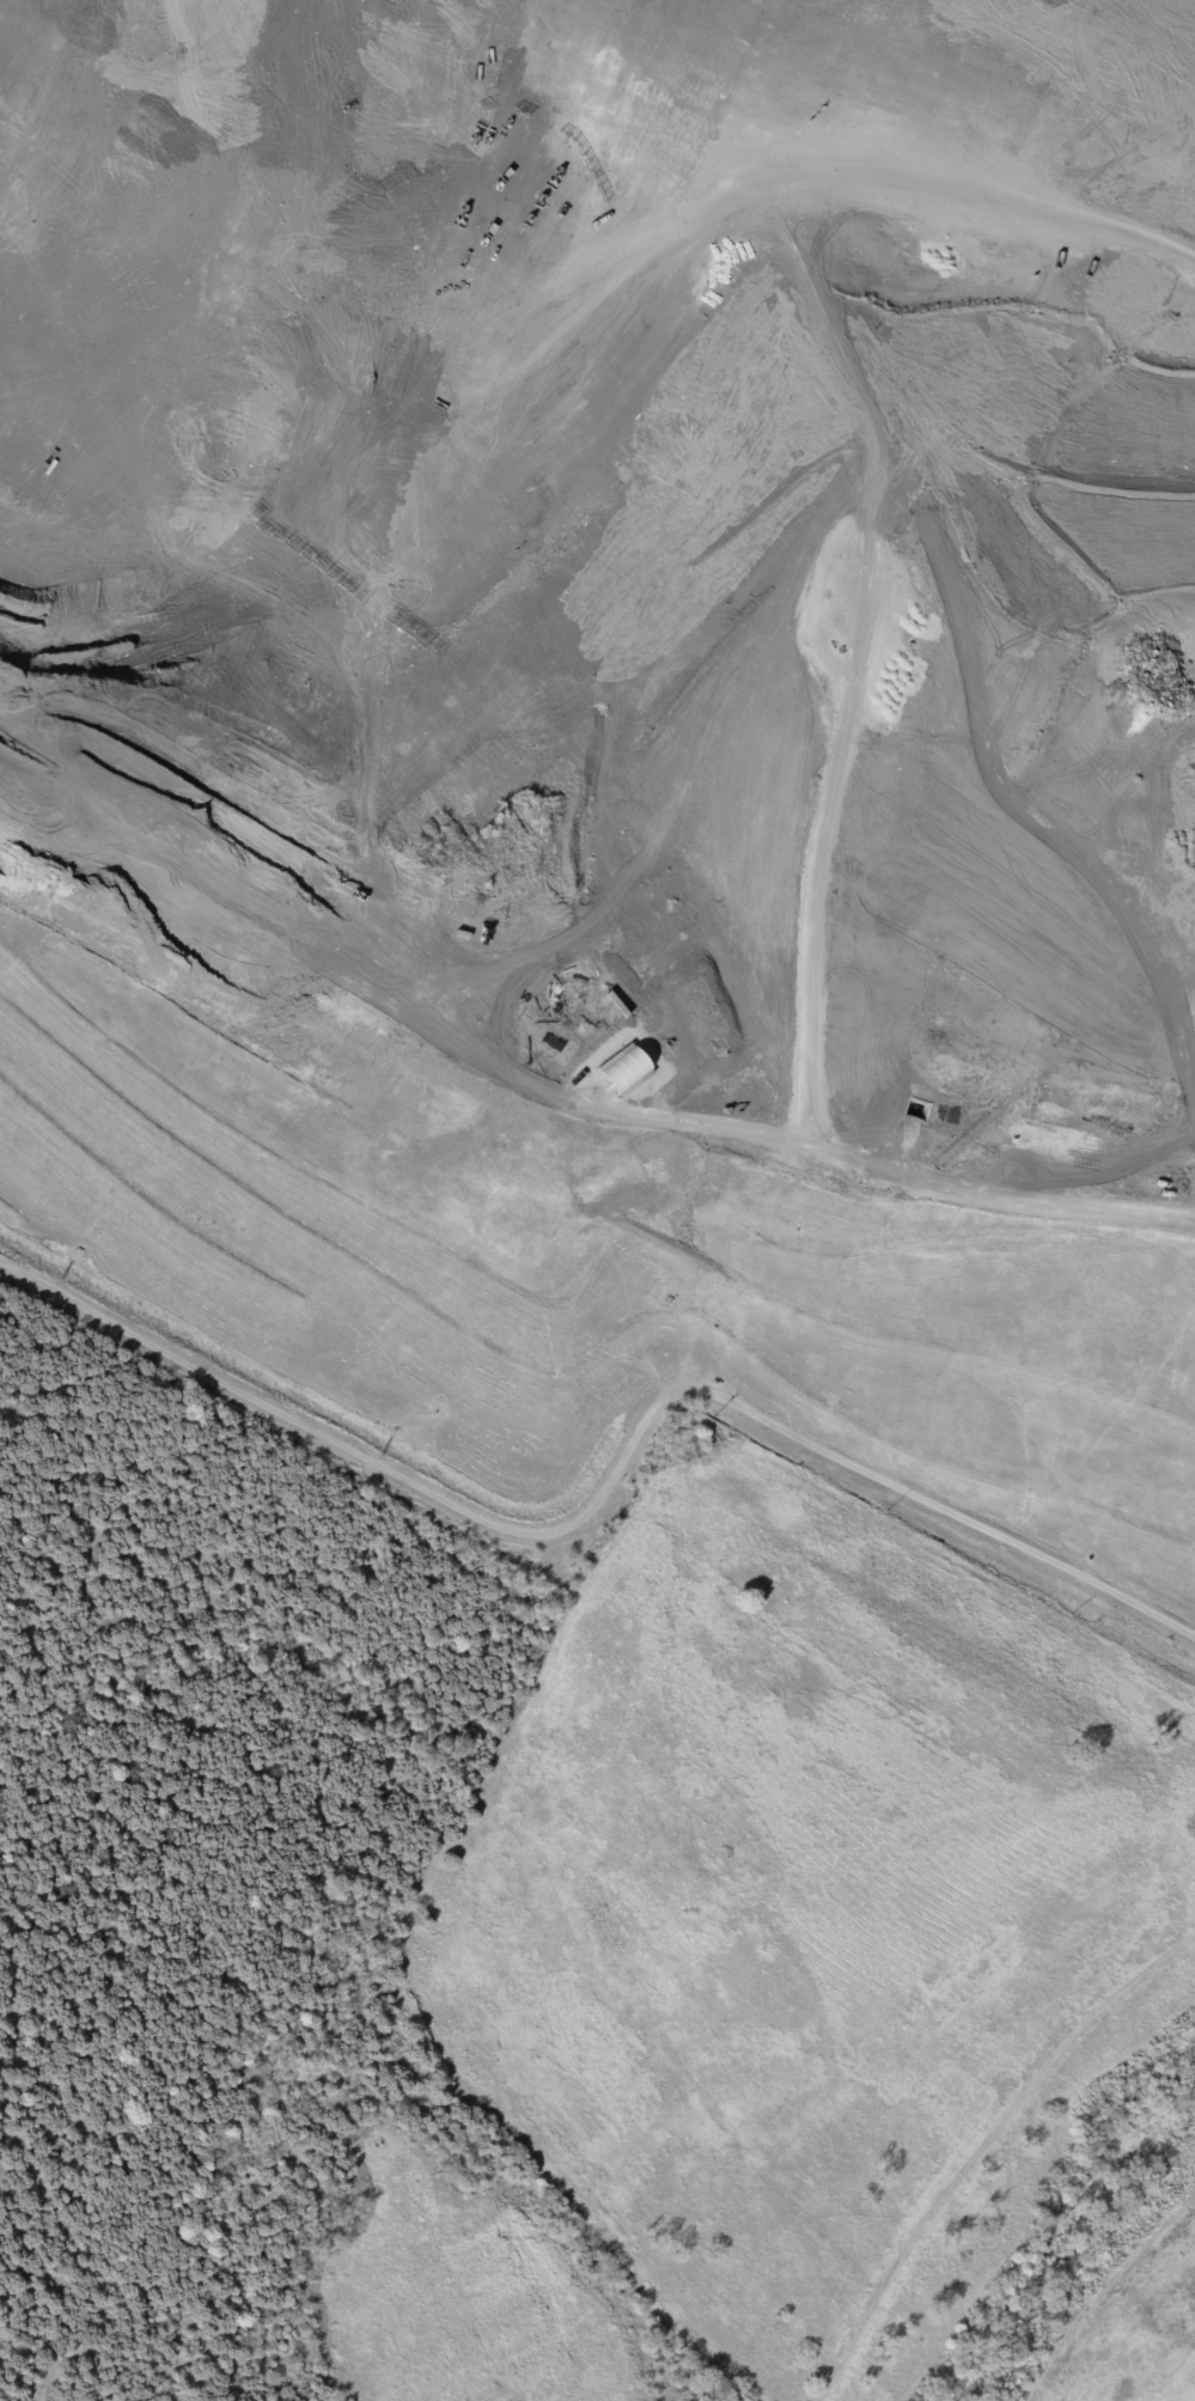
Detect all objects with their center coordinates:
landfill: (617, 726)
building: (623, 1071)
landfill: (795, 1993)

